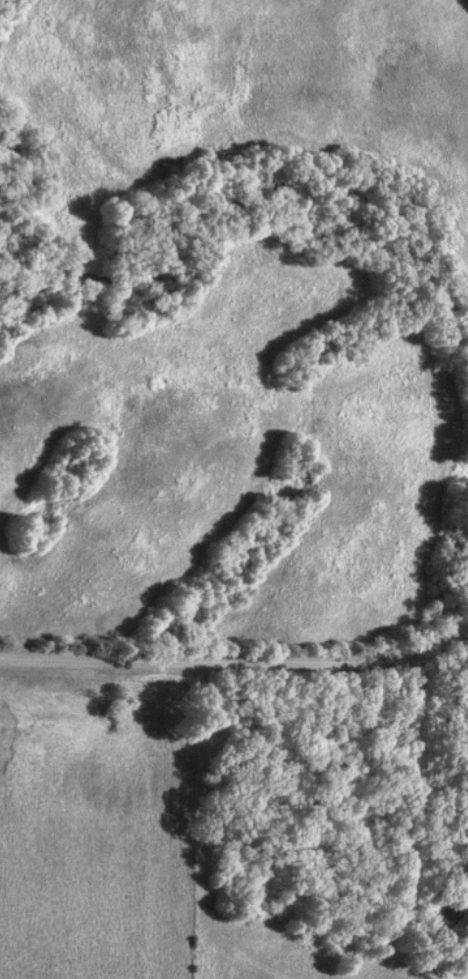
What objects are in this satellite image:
road: (241, 666)
road: (202, 843)

